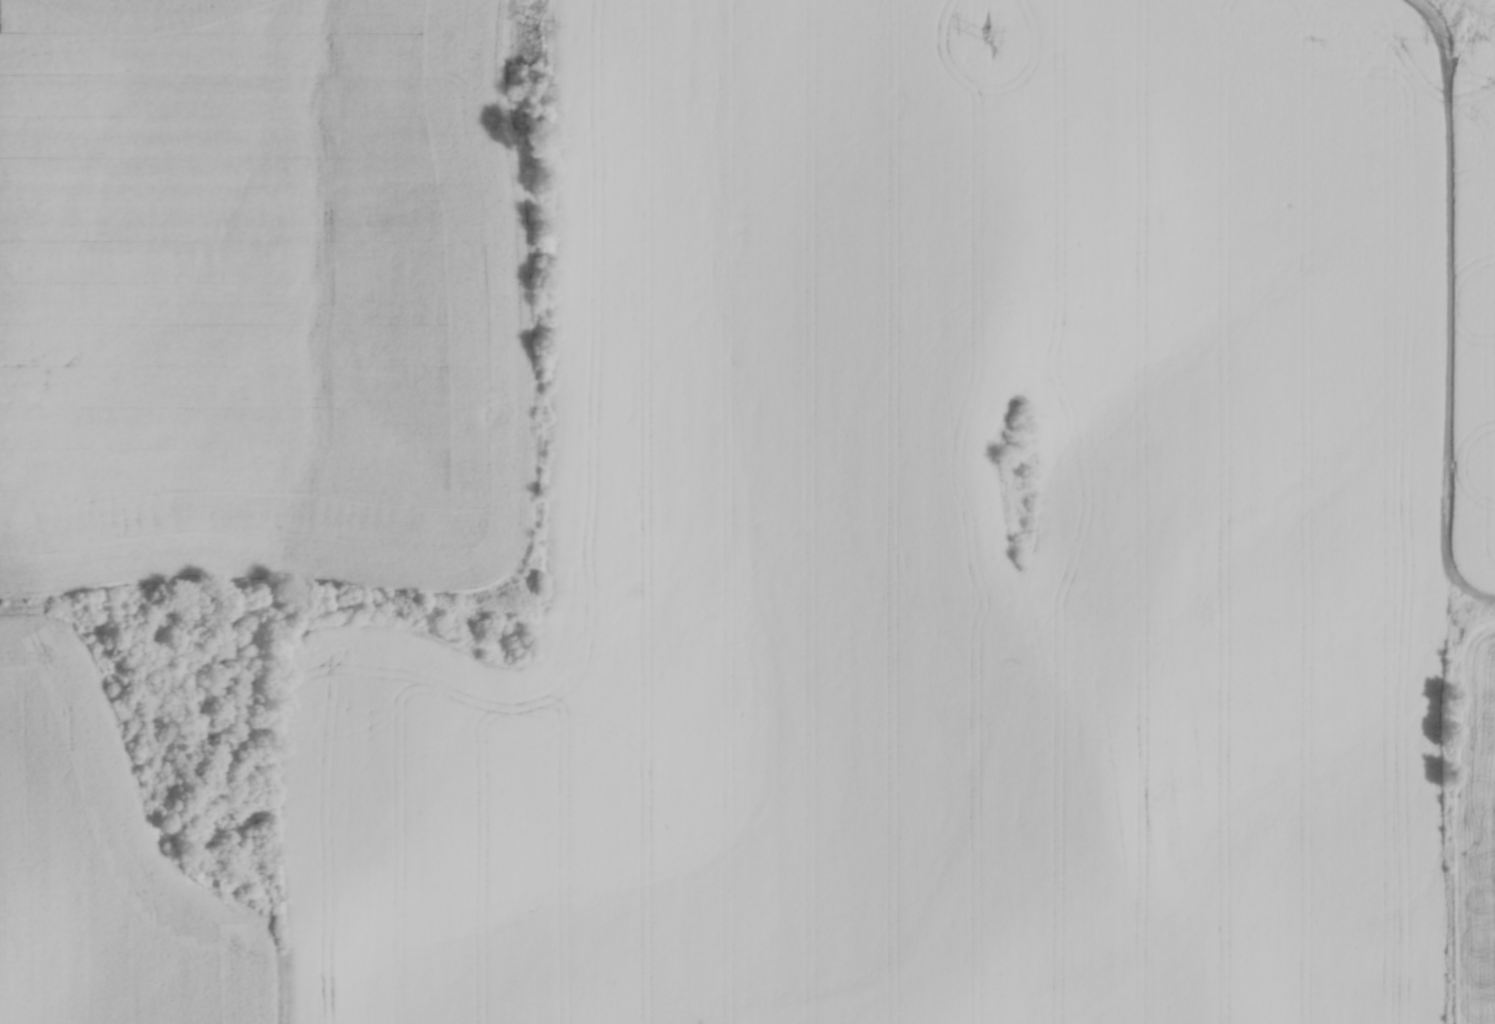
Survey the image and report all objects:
power tower: (533, 19)
power tower: (983, 31)
power tower: (1453, 42)

